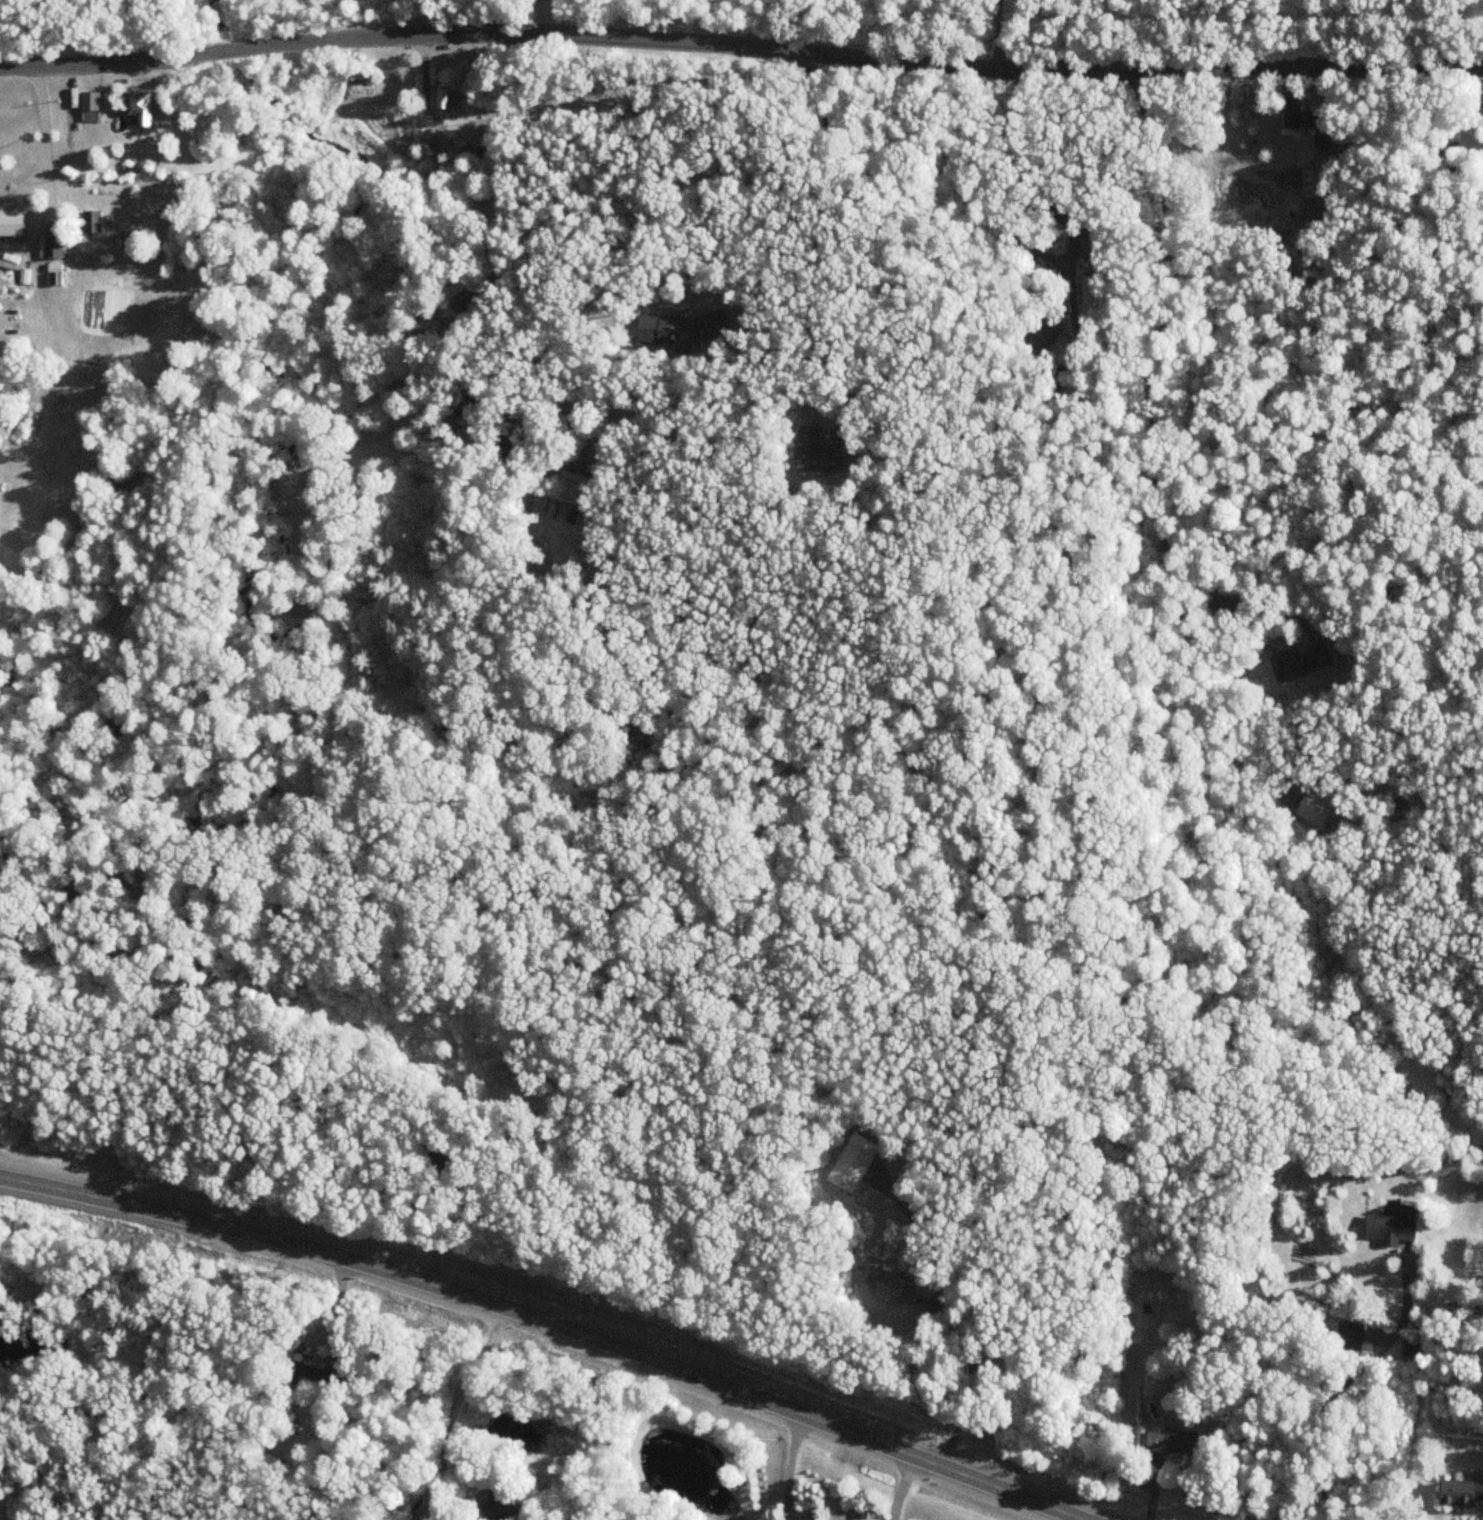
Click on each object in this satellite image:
road: (20, 8)
road: (990, 34)
road: (1440, 34)
road: (740, 47)
building: (451, 99)
building: (93, 107)
building: (144, 107)
building: (1313, 127)
building: (440, 143)
road: (1222, 145)
building: (1142, 177)
building: (1311, 194)
road: (501, 218)
road: (720, 222)
building: (92, 223)
building: (13, 224)
road: (874, 226)
road: (1025, 228)
road: (38, 246)
building: (55, 255)
building: (1091, 295)
building: (468, 302)
building: (686, 330)
building: (1040, 334)
road: (1149, 401)
building: (821, 453)
building: (573, 488)
building: (433, 1157)
building: (851, 1161)
building: (1391, 1226)
road: (436, 1230)
building: (881, 1283)
road: (548, 1324)
road: (960, 1334)
building: (1348, 1336)
building: (1408, 1348)
building: (318, 1377)
road: (1341, 1387)
road: (459, 1392)
building: (1172, 1442)
road: (790, 1466)
road: (898, 1486)
building: (1460, 1492)
building: (502, 1502)

